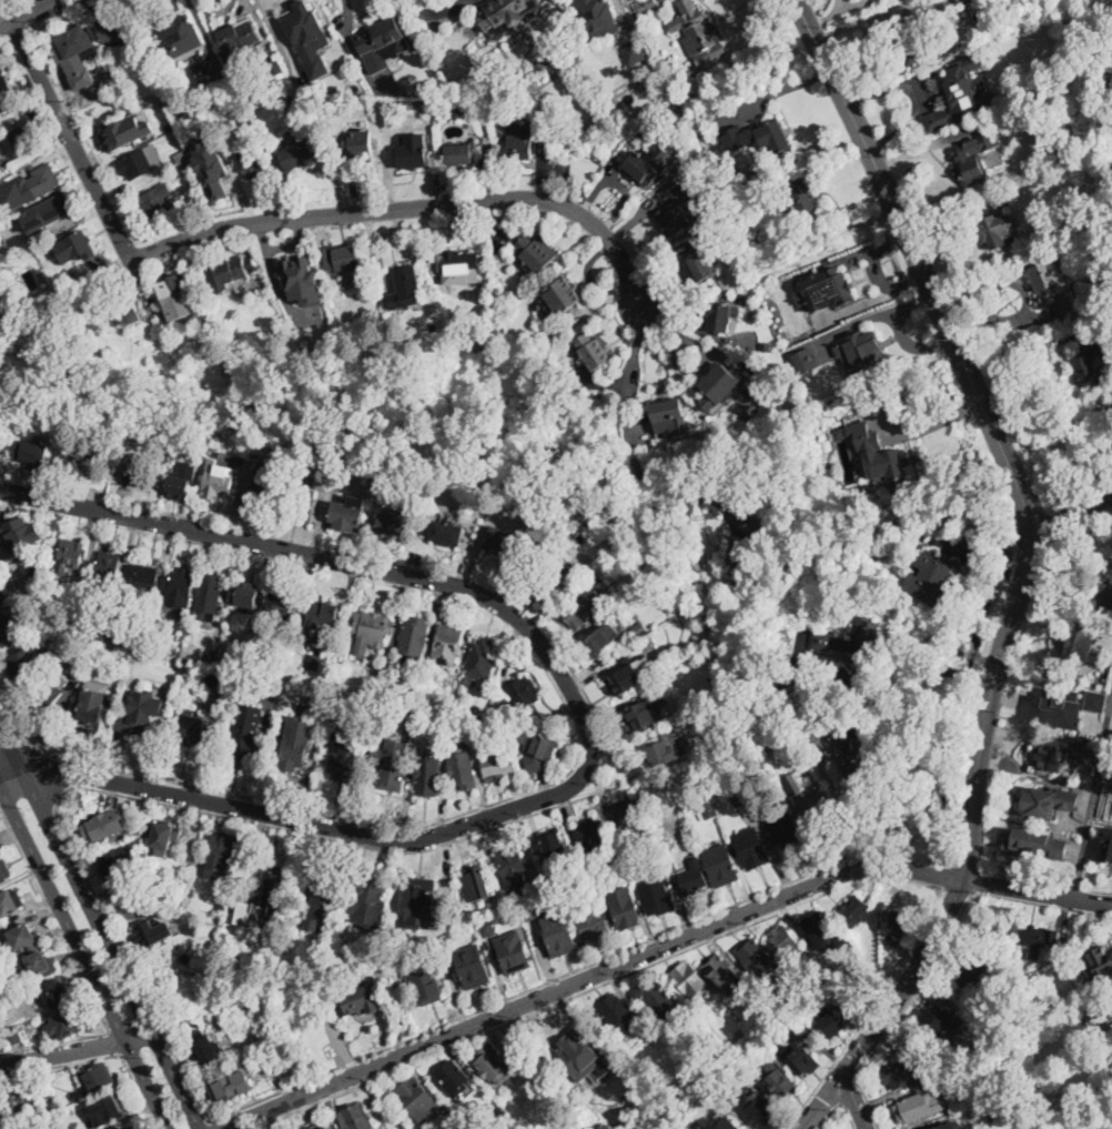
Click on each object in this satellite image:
building: (962, 2)
building: (650, 6)
building: (506, 11)
road: (34, 13)
building: (595, 18)
building: (117, 28)
building: (697, 34)
building: (916, 34)
building: (309, 36)
building: (182, 38)
building: (239, 40)
building: (381, 43)
building: (72, 46)
building: (635, 52)
building: (979, 54)
building: (1084, 61)
building: (273, 64)
building: (221, 80)
building: (282, 80)
building: (81, 81)
building: (1040, 87)
building: (944, 92)
building: (960, 92)
building: (433, 93)
building: (7, 94)
building: (292, 100)
building: (458, 102)
building: (499, 103)
building: (394, 104)
building: (426, 105)
building: (674, 118)
building: (246, 122)
road: (64, 129)
building: (19, 134)
building: (124, 134)
building: (765, 137)
building: (518, 142)
building: (361, 144)
building: (1075, 145)
building: (1062, 149)
building: (295, 152)
building: (413, 153)
building: (461, 153)
building: (182, 157)
building: (973, 158)
building: (140, 162)
building: (252, 162)
building: (641, 164)
building: (210, 165)
building: (37, 184)
building: (798, 201)
building: (161, 203)
road: (412, 208)
building: (677, 210)
building: (46, 213)
building: (724, 226)
building: (997, 230)
building: (71, 249)
building: (535, 252)
building: (344, 256)
building: (462, 262)
building: (699, 262)
road: (922, 272)
building: (228, 273)
building: (302, 279)
building: (58, 288)
building: (406, 288)
building: (827, 288)
building: (1051, 289)
building: (172, 290)
road: (64, 291)
building: (559, 298)
building: (493, 301)
building: (125, 310)
building: (717, 317)
road: (1027, 344)
building: (766, 346)
building: (593, 350)
building: (863, 355)
building: (805, 359)
building: (1088, 364)
building: (722, 387)
building: (815, 399)
building: (668, 415)
building: (0, 430)
building: (222, 435)
building: (1, 444)
building: (202, 446)
building: (31, 453)
road: (635, 453)
building: (85, 458)
building: (882, 462)
building: (271, 470)
building: (140, 474)
building: (267, 478)
building: (219, 481)
building: (178, 487)
building: (321, 491)
building: (301, 505)
building: (350, 513)
road: (1069, 514)
building: (395, 522)
building: (446, 533)
building: (19, 535)
building: (509, 545)
building: (739, 555)
building: (69, 556)
building: (38, 567)
building: (108, 571)
building: (144, 579)
building: (930, 579)
building: (548, 581)
building: (83, 584)
building: (180, 588)
building: (6, 591)
building: (1106, 594)
building: (245, 596)
building: (209, 597)
building: (279, 603)
building: (0, 607)
building: (583, 608)
building: (323, 615)
building: (1102, 615)
building: (639, 627)
building: (13, 628)
building: (374, 631)
building: (120, 637)
building: (415, 638)
building: (599, 638)
building: (860, 641)
building: (58, 644)
building: (447, 644)
building: (282, 646)
building: (1079, 646)
building: (209, 656)
building: (240, 658)
building: (482, 658)
building: (118, 659)
building: (313, 662)
building: (23, 665)
building: (131, 665)
building: (829, 666)
building: (275, 668)
road: (918, 672)
building: (213, 678)
building: (624, 679)
building: (239, 681)
building: (249, 681)
building: (469, 681)
building: (668, 682)
building: (378, 692)
building: (46, 696)
building: (518, 696)
building: (1093, 699)
building: (91, 703)
building: (444, 706)
building: (495, 712)
building: (1054, 712)
building: (141, 713)
building: (643, 715)
building: (411, 722)
road: (588, 722)
building: (192, 727)
road: (16, 728)
building: (1091, 729)
building: (246, 733)
building: (473, 740)
building: (295, 744)
building: (537, 749)
building: (664, 749)
building: (1057, 753)
building: (343, 754)
building: (850, 756)
building: (1088, 756)
building: (495, 759)
building: (462, 768)
building: (393, 770)
road: (44, 774)
building: (427, 775)
building: (739, 799)
building: (810, 800)
road: (1092, 800)
road: (159, 802)
building: (1049, 802)
building: (708, 810)
building: (627, 812)
road: (850, 815)
road: (968, 824)
building: (102, 825)
building: (785, 829)
building: (593, 836)
building: (162, 837)
building: (1037, 845)
building: (1108, 845)
building: (553, 846)
building: (751, 848)
building: (223, 854)
building: (117, 865)
building: (721, 865)
building: (514, 867)
building: (4, 869)
building: (583, 871)
building: (273, 875)
building: (534, 875)
building: (694, 877)
building: (323, 884)
building: (476, 884)
road: (1050, 884)
building: (373, 889)
building: (538, 889)
road: (959, 890)
building: (192, 894)
building: (419, 895)
building: (657, 897)
building: (10, 903)
building: (229, 903)
building: (319, 905)
road: (1041, 905)
building: (624, 907)
building: (249, 909)
building: (855, 911)
building: (529, 913)
building: (443, 919)
building: (589, 920)
building: (898, 925)
road: (100, 926)
building: (820, 928)
building: (487, 929)
building: (150, 931)
building: (558, 934)
building: (346, 935)
building: (23, 938)
building: (1033, 939)
building: (444, 944)
building: (785, 944)
road: (659, 948)
building: (513, 951)
building: (754, 955)
road: (83, 957)
building: (404, 958)
building: (1098, 961)
building: (40, 964)
building: (472, 967)
building: (971, 969)
road: (79, 970)
building: (721, 974)
building: (689, 979)
building: (425, 984)
building: (12, 991)
building: (52, 994)
road: (517, 995)
building: (655, 995)
building: (360, 999)
building: (1111, 1006)
road: (904, 1010)
road: (872, 1012)
road: (535, 1014)
building: (619, 1014)
building: (940, 1020)
building: (829, 1021)
building: (1100, 1021)
building: (64, 1025)
building: (228, 1026)
building: (271, 1035)
building: (13, 1036)
road: (114, 1041)
building: (208, 1049)
road: (75, 1051)
building: (525, 1051)
building: (582, 1055)
building: (800, 1058)
road: (59, 1062)
building: (266, 1066)
building: (493, 1066)
road: (848, 1066)
building: (942, 1068)
building: (903, 1072)
building: (97, 1078)
building: (453, 1078)
building: (780, 1082)
building: (947, 1085)
building: (229, 1086)
road: (138, 1090)
road: (850, 1090)
road: (829, 1093)
building: (417, 1099)
road: (821, 1099)
road: (853, 1099)
road: (839, 1105)
building: (920, 1107)
building: (13, 1108)
building: (50, 1108)
building: (107, 1109)
building: (498, 1110)
building: (762, 1111)
building: (355, 1118)
building: (452, 1119)
building: (722, 1123)
road: (210, 1125)
building: (319, 1126)
building: (949, 1126)
building: (127, 1128)
building: (133, 1128)

